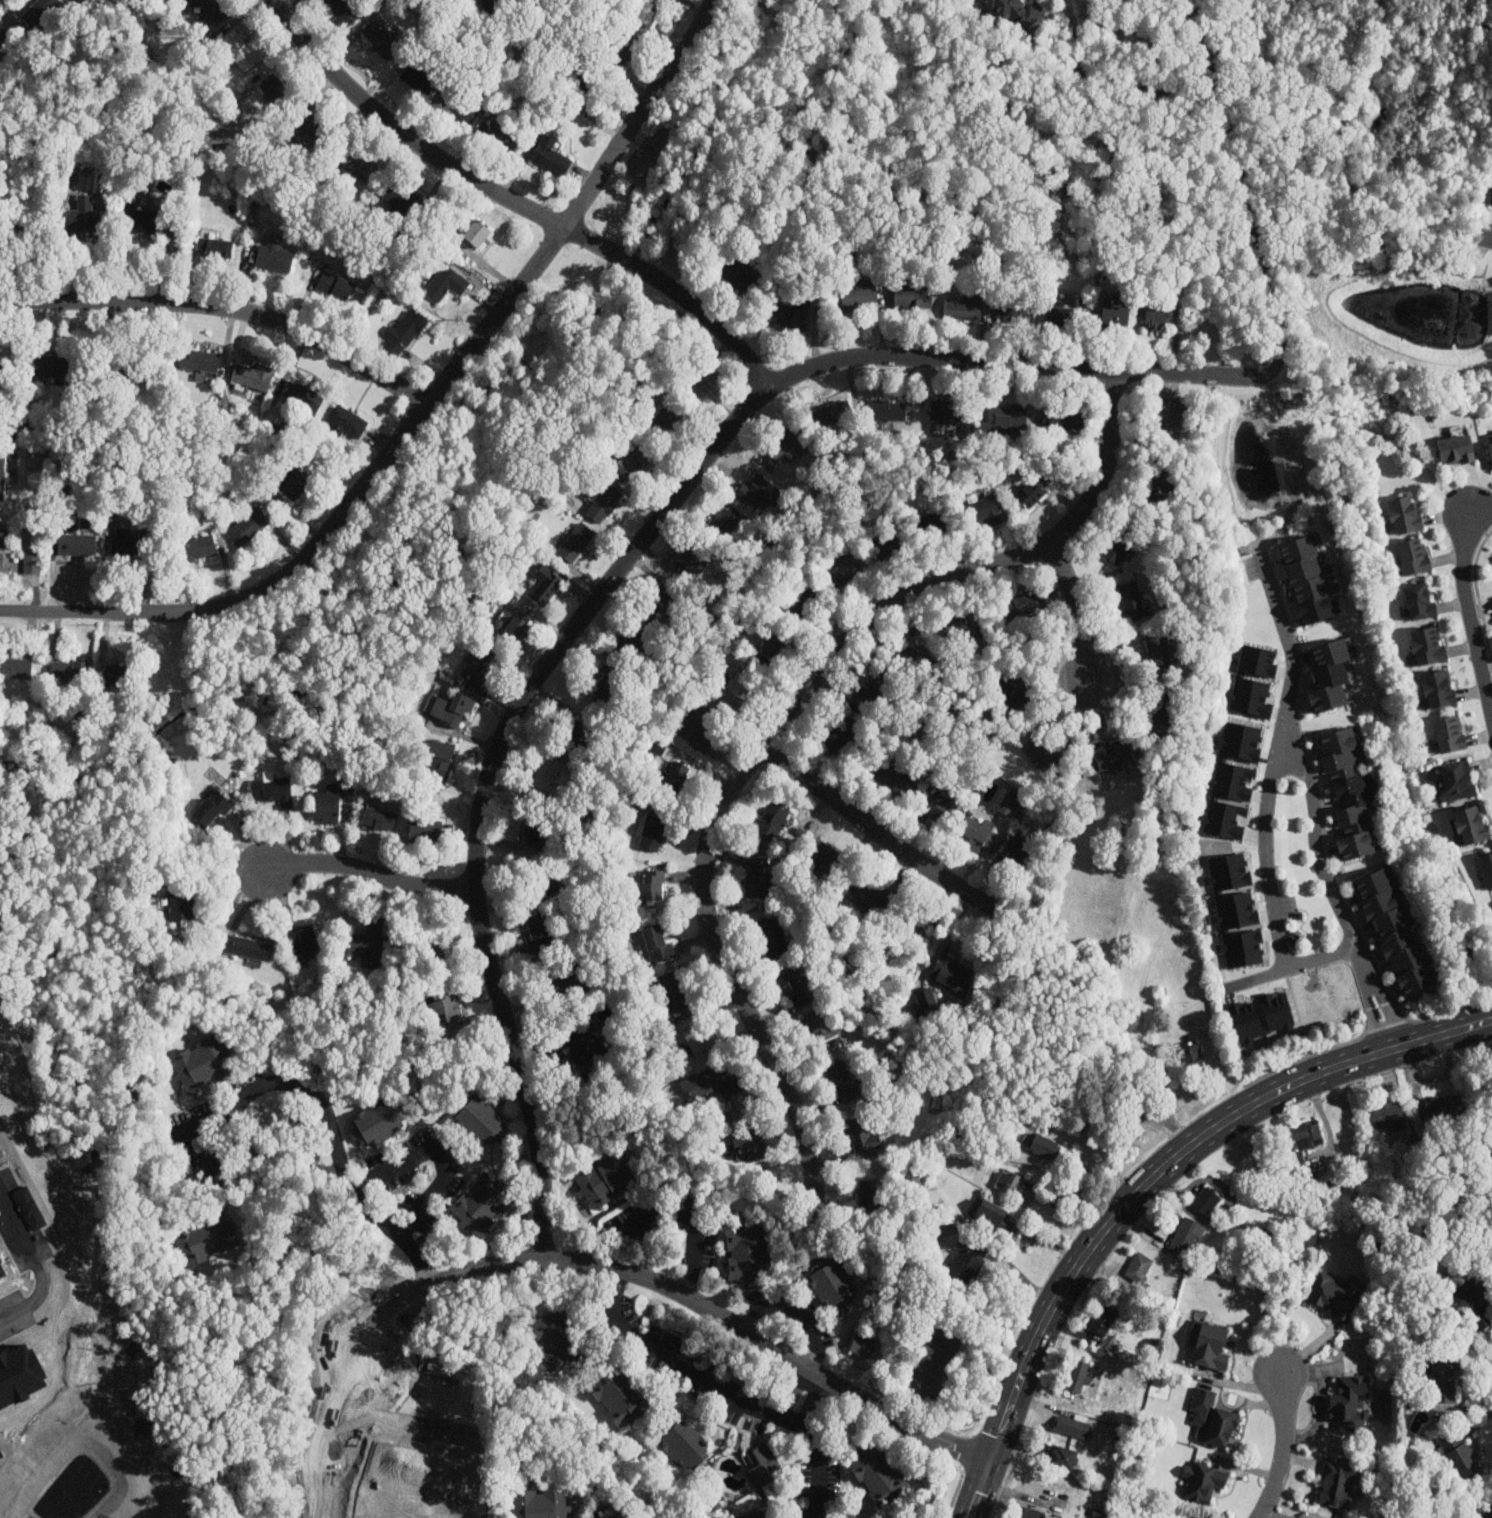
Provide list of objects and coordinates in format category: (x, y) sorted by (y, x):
building: (491, 6)
building: (213, 9)
building: (40, 11)
building: (343, 11)
building: (1014, 11)
building: (649, 12)
building: (381, 41)
building: (240, 50)
building: (621, 50)
building: (418, 81)
building: (584, 83)
road: (1110, 83)
building: (277, 93)
building: (458, 109)
building: (317, 131)
building: (499, 137)
building: (299, 141)
building: (550, 156)
building: (357, 165)
building: (1491, 196)
building: (402, 199)
road: (514, 199)
building: (80, 215)
building: (139, 218)
building: (475, 235)
road: (1486, 238)
building: (213, 247)
building: (274, 258)
building: (738, 275)
building: (446, 284)
building: (335, 286)
building: (856, 297)
building: (911, 298)
road: (224, 309)
building: (962, 309)
building: (790, 315)
building: (1018, 315)
building: (1059, 316)
building: (1114, 319)
building: (1156, 321)
building: (404, 335)
building: (198, 359)
building: (48, 365)
building: (251, 374)
building: (701, 378)
building: (300, 395)
building: (887, 411)
road: (421, 412)
road: (741, 413)
building: (944, 414)
building: (667, 415)
building: (832, 415)
building: (1064, 418)
building: (1168, 418)
building: (345, 419)
building: (1005, 419)
building: (789, 449)
building: (1490, 449)
building: (1455, 451)
park: (472, 457)
building: (628, 463)
building: (1, 473)
building: (290, 481)
building: (1162, 481)
building: (1034, 490)
building: (757, 494)
building: (602, 502)
building: (983, 513)
building: (1404, 516)
building: (722, 522)
building: (246, 526)
building: (933, 531)
building: (575, 541)
building: (75, 543)
building: (1120, 545)
building: (2, 547)
building: (196, 547)
building: (886, 548)
building: (1413, 557)
building: (687, 559)
building: (842, 569)
building: (1306, 580)
building: (544, 583)
building: (659, 599)
building: (1132, 600)
building: (1419, 602)
building: (1027, 604)
road: (1469, 606)
building: (801, 607)
road: (1078, 607)
building: (512, 625)
building: (958, 632)
building: (632, 637)
building: (1428, 647)
building: (770, 652)
building: (484, 654)
building: (1160, 656)
building: (1257, 659)
building: (912, 662)
building: (15, 667)
building: (69, 670)
building: (112, 674)
building: (474, 674)
building: (1329, 677)
building: (603, 690)
building: (733, 690)
building: (1014, 691)
building: (1439, 691)
building: (872, 693)
building: (1250, 696)
building: (448, 707)
building: (1156, 718)
road: (778, 722)
building: (698, 727)
building: (839, 735)
building: (1450, 735)
building: (1039, 751)
building: (1112, 755)
building: (438, 757)
road: (1278, 759)
building: (1088, 767)
building: (544, 775)
building: (674, 776)
building: (1232, 780)
building: (893, 781)
building: (1457, 782)
building: (274, 789)
building: (1349, 796)
building: (330, 801)
building: (1007, 803)
building: (212, 808)
building: (936, 810)
building: (380, 819)
building: (1224, 819)
building: (773, 822)
building: (1471, 827)
building: (428, 828)
building: (652, 831)
road: (880, 833)
building: (976, 837)
building: (1018, 848)
building: (831, 861)
building: (1487, 871)
road: (370, 874)
building: (759, 878)
building: (650, 884)
building: (546, 887)
building: (872, 896)
road: (1335, 896)
building: (180, 903)
building: (916, 925)
building: (1238, 928)
building: (536, 932)
building: (1394, 932)
building: (773, 937)
building: (915, 938)
building: (367, 940)
building: (306, 941)
building: (655, 943)
building: (248, 946)
road: (1288, 970)
building: (951, 974)
building: (561, 979)
building: (792, 989)
building: (673, 991)
building: (922, 1000)
building: (448, 1007)
building: (1246, 1023)
building: (819, 1027)
building: (698, 1040)
building: (582, 1044)
building: (1192, 1056)
building: (201, 1063)
building: (840, 1077)
building: (708, 1083)
road: (299, 1084)
building: (1442, 1111)
building: (1386, 1115)
building: (479, 1118)
building: (378, 1122)
building: (859, 1135)
building: (1309, 1135)
building: (750, 1144)
building: (1045, 1148)
road: (442, 1153)
building: (604, 1178)
road: (1148, 1182)
building: (1018, 1186)
building: (872, 1194)
building: (1206, 1202)
building: (481, 1203)
road: (672, 1212)
building: (995, 1216)
building: (1185, 1237)
building: (205, 1238)
building: (748, 1251)
building: (966, 1262)
road: (34, 1268)
building: (1139, 1269)
road: (1018, 1272)
building: (832, 1286)
road: (666, 1287)
building: (1335, 1295)
building: (1476, 1302)
road: (795, 1311)
building: (1105, 1318)
building: (556, 1338)
building: (862, 1346)
building: (1209, 1348)
building: (1078, 1377)
building: (1444, 1381)
building: (617, 1395)
road: (723, 1396)
road: (805, 1397)
building: (1350, 1404)
road: (1468, 1407)
building: (1212, 1418)
building: (1072, 1427)
road: (324, 1442)
building: (684, 1444)
road: (1283, 1449)
building: (1063, 1458)
building: (1461, 1459)
building: (762, 1465)
building: (880, 1476)
building: (1203, 1483)
building: (1339, 1485)
building: (541, 1503)
building: (1488, 1510)
building: (1028, 1513)
building: (757, 1514)
building: (611, 1516)
building: (1307, 1517)

